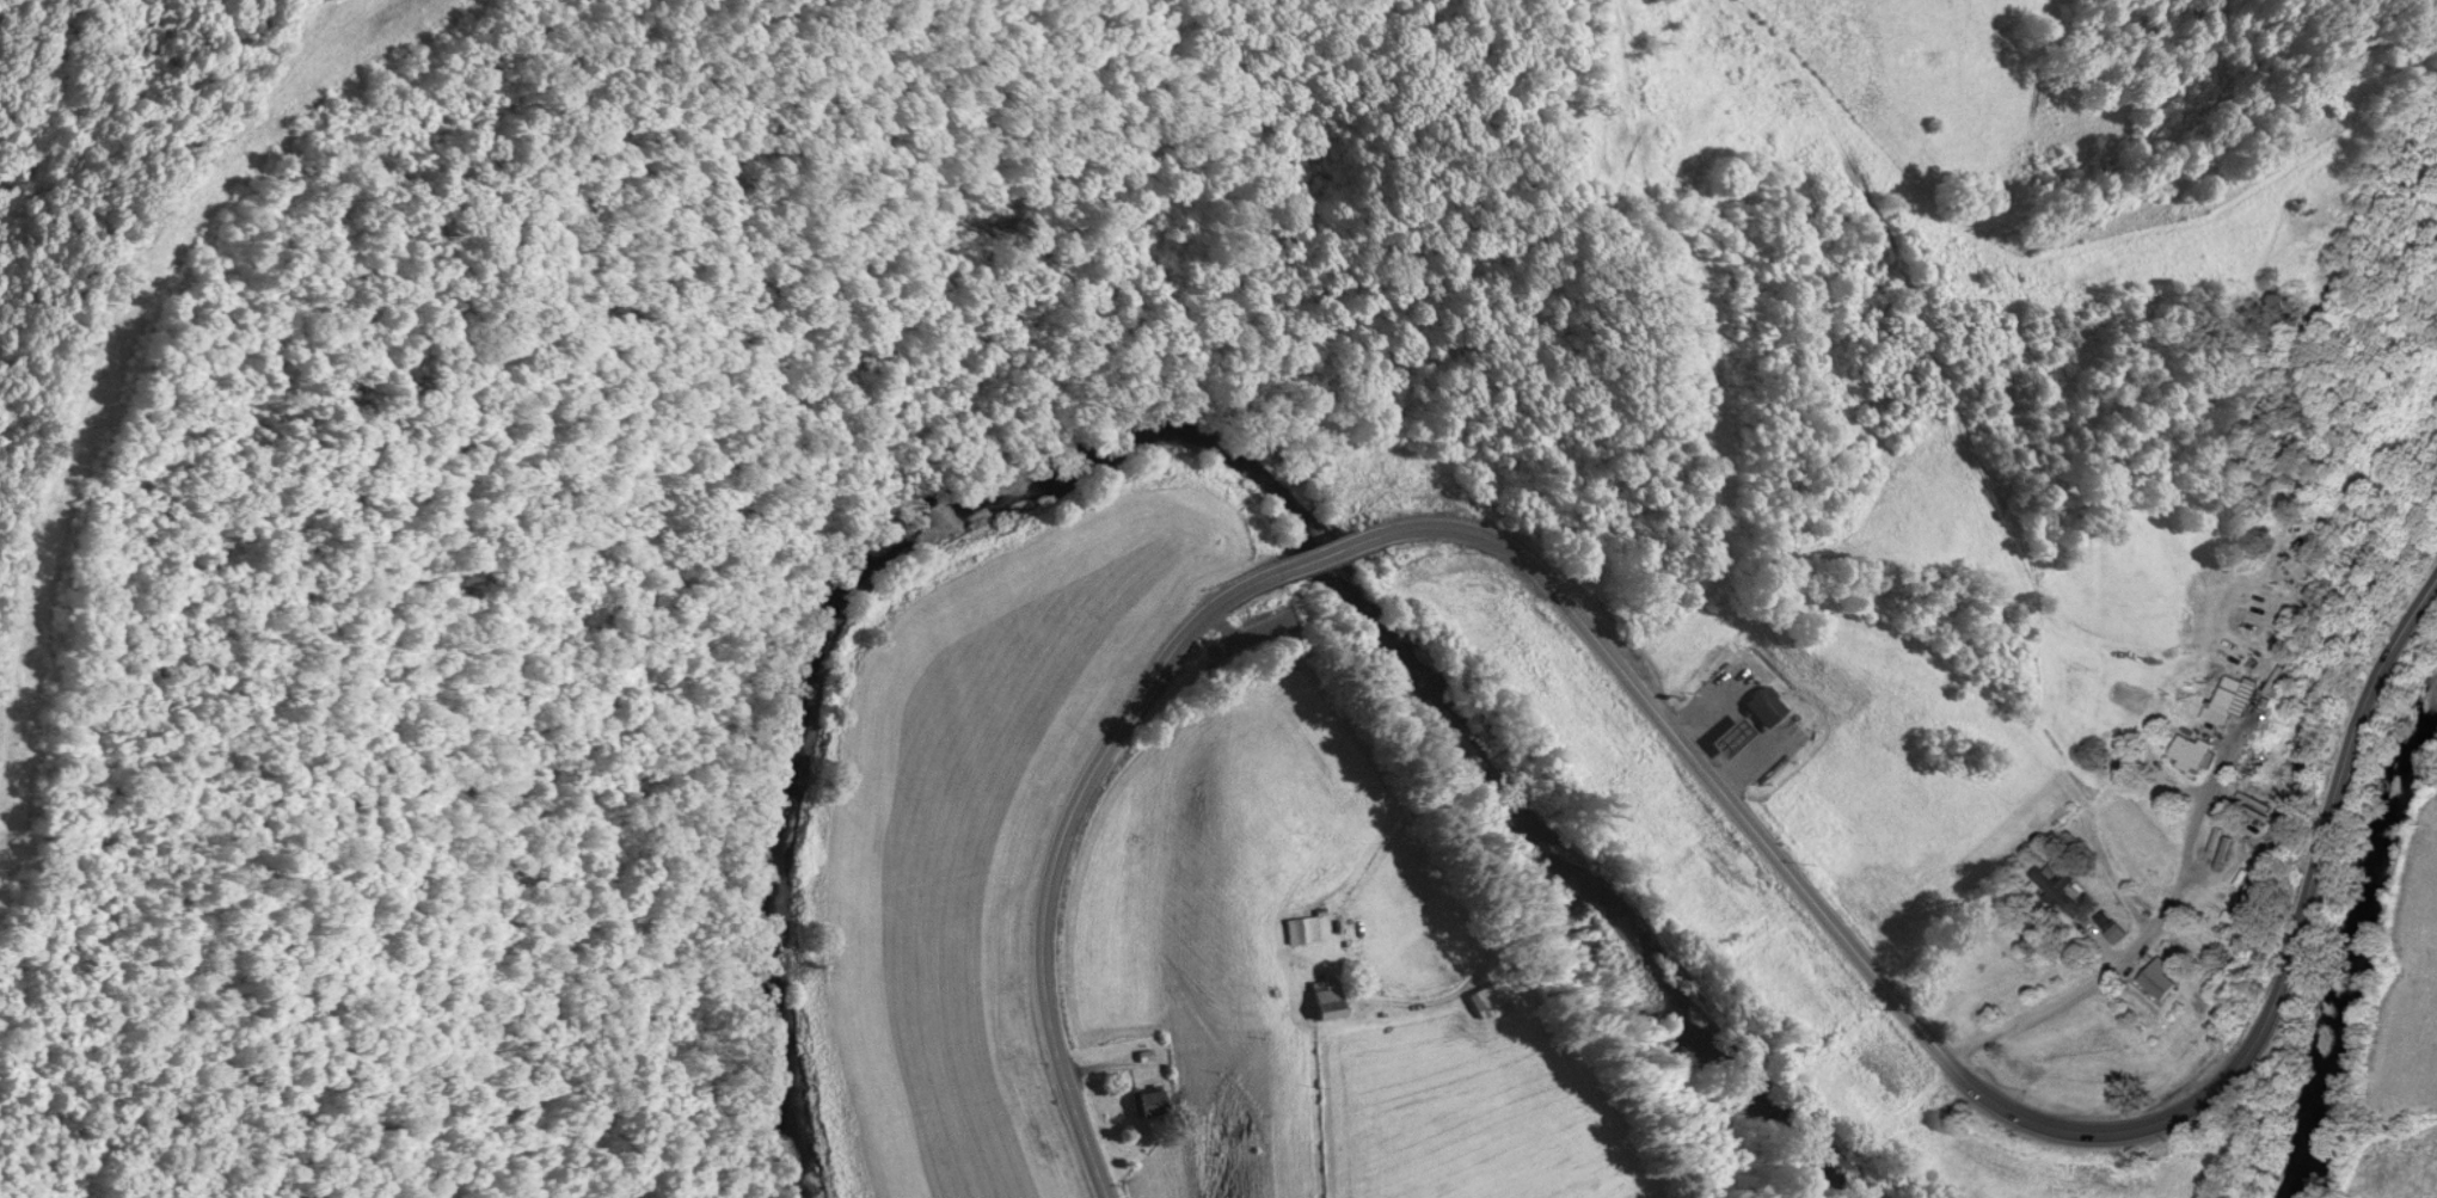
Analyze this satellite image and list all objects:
river: (1189, 438)
road: (1331, 555)
building: (2230, 704)
building: (1766, 708)
building: (2196, 755)
road: (1389, 813)
road: (2092, 830)
road: (1062, 850)
building: (2060, 886)
building: (1302, 932)
building: (2118, 934)
river: (2334, 954)
building: (2165, 981)
building: (1330, 1001)
building: (1491, 1001)
road: (1964, 1079)
building: (1152, 1105)

